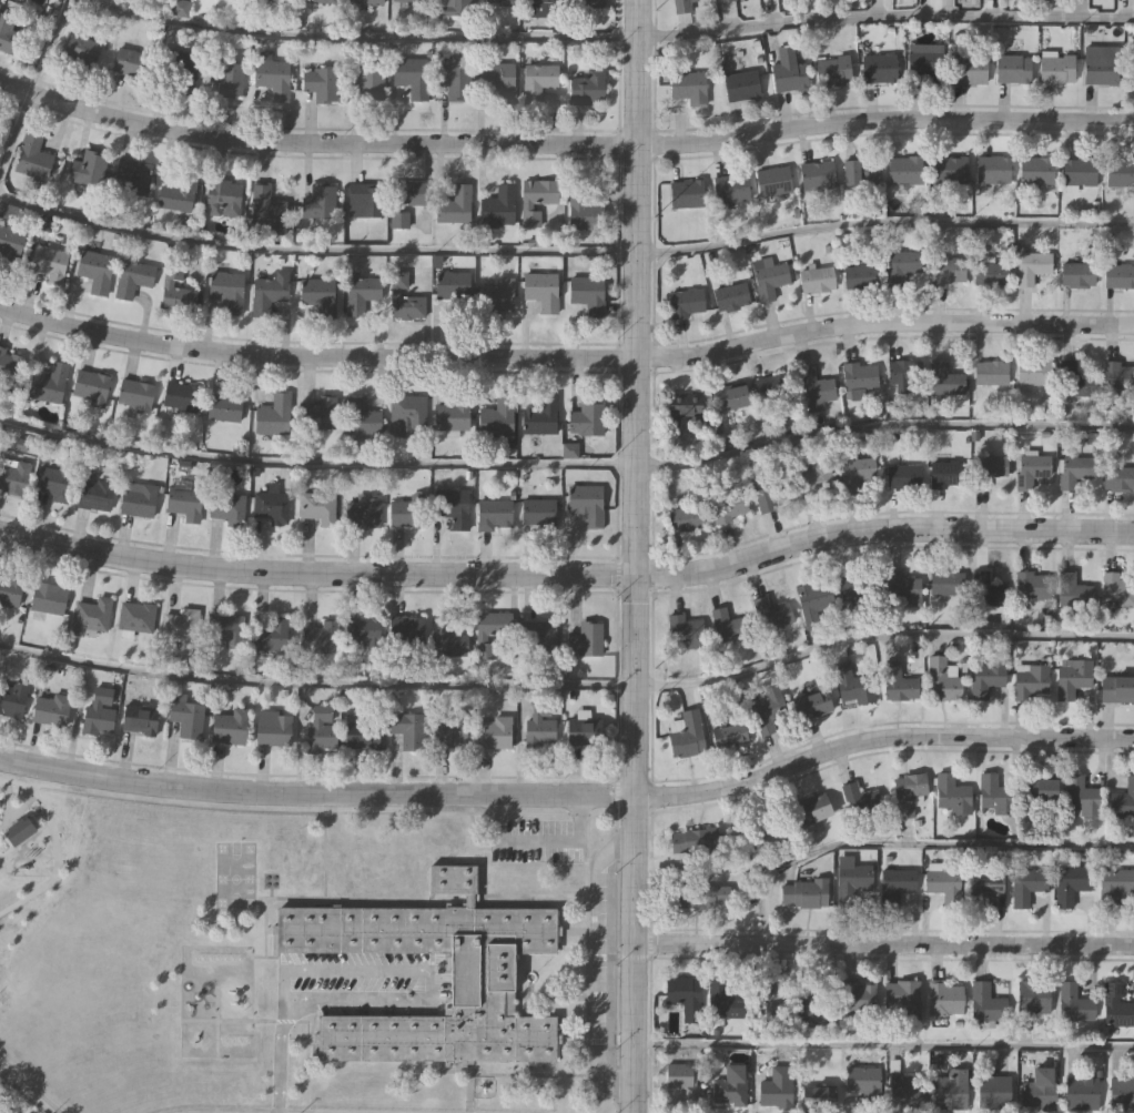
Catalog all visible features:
building: (281, 0)
building: (408, 1)
building: (723, 1)
building: (37, 2)
building: (315, 2)
building: (363, 2)
building: (496, 3)
building: (584, 4)
building: (680, 6)
building: (456, 7)
building: (537, 8)
building: (179, 9)
building: (9, 37)
road: (608, 38)
building: (82, 51)
building: (1131, 62)
building: (129, 63)
building: (1101, 63)
building: (924, 64)
building: (1012, 67)
building: (1055, 67)
building: (878, 70)
building: (968, 72)
building: (409, 73)
building: (787, 73)
building: (831, 73)
building: (183, 74)
building: (273, 80)
building: (227, 81)
building: (496, 81)
building: (536, 82)
road: (33, 83)
building: (365, 83)
building: (453, 83)
building: (318, 85)
building: (686, 88)
building: (739, 88)
building: (586, 90)
road: (564, 142)
building: (33, 159)
building: (995, 168)
building: (905, 169)
building: (950, 170)
building: (89, 171)
building: (1036, 171)
building: (1080, 171)
building: (1121, 171)
building: (861, 172)
building: (814, 175)
building: (772, 180)
building: (136, 181)
building: (731, 188)
building: (687, 192)
building: (179, 195)
building: (224, 199)
building: (534, 201)
building: (364, 202)
building: (318, 203)
building: (402, 203)
building: (270, 208)
building: (453, 208)
building: (496, 209)
building: (583, 212)
building: (10, 245)
road: (565, 252)
building: (50, 265)
building: (901, 265)
building: (1032, 265)
building: (945, 270)
building: (97, 272)
building: (991, 272)
building: (1079, 273)
building: (1120, 274)
building: (861, 275)
building: (769, 277)
building: (816, 277)
building: (133, 280)
building: (450, 283)
building: (181, 289)
building: (539, 292)
building: (229, 293)
building: (267, 295)
building: (731, 295)
building: (358, 296)
building: (586, 296)
building: (316, 297)
building: (499, 297)
building: (402, 300)
building: (686, 301)
road: (566, 358)
building: (10, 365)
building: (905, 371)
building: (1035, 371)
building: (993, 372)
building: (860, 374)
building: (1118, 374)
building: (948, 377)
building: (1076, 378)
building: (50, 385)
building: (774, 385)
building: (92, 388)
building: (816, 388)
building: (135, 395)
building: (732, 395)
building: (183, 398)
building: (223, 405)
building: (686, 405)
building: (407, 414)
building: (316, 415)
building: (271, 416)
building: (449, 417)
building: (495, 417)
building: (539, 417)
building: (358, 418)
building: (585, 421)
building: (1, 429)
road: (567, 465)
building: (986, 468)
building: (1031, 468)
building: (857, 469)
building: (1073, 469)
building: (945, 473)
building: (902, 474)
building: (13, 477)
building: (1118, 477)
building: (817, 479)
building: (53, 484)
building: (771, 489)
building: (95, 496)
building: (140, 503)
building: (184, 504)
building: (584, 505)
building: (731, 505)
building: (270, 507)
building: (450, 507)
building: (225, 508)
building: (316, 508)
building: (362, 512)
building: (406, 512)
building: (536, 514)
building: (492, 516)
building: (688, 517)
road: (634, 556)
road: (567, 574)
building: (946, 580)
building: (858, 583)
building: (1031, 583)
building: (904, 587)
building: (988, 589)
building: (1073, 589)
building: (1114, 589)
building: (10, 591)
building: (49, 599)
building: (817, 601)
building: (771, 611)
building: (91, 617)
building: (135, 618)
building: (726, 624)
building: (179, 626)
building: (405, 629)
building: (224, 630)
building: (686, 630)
building: (360, 631)
building: (489, 633)
building: (270, 635)
building: (318, 639)
building: (445, 640)
building: (584, 640)
building: (543, 641)
building: (988, 675)
building: (1073, 676)
building: (943, 677)
building: (1030, 678)
building: (901, 682)
building: (855, 684)
road: (568, 686)
building: (1117, 688)
building: (13, 700)
building: (814, 702)
building: (769, 708)
building: (51, 710)
building: (98, 714)
building: (184, 717)
building: (537, 720)
building: (136, 722)
building: (227, 728)
building: (271, 730)
building: (406, 730)
building: (318, 731)
building: (450, 732)
building: (581, 733)
building: (687, 733)
building: (730, 733)
building: (490, 735)
building: (357, 739)
building: (1043, 786)
building: (909, 792)
building: (951, 793)
building: (994, 793)
road: (569, 795)
building: (1081, 796)
building: (860, 799)
building: (1123, 800)
building: (811, 807)
building: (772, 831)
building: (697, 840)
parking lot: (539, 841)
road: (540, 841)
road: (911, 846)
park: (235, 877)
building: (1072, 880)
building: (849, 882)
building: (1114, 883)
building: (898, 884)
building: (946, 884)
building: (1029, 886)
building: (990, 888)
building: (807, 891)
building: (700, 893)
road: (882, 944)
park: (143, 948)
road: (594, 962)
road: (422, 969)
building: (482, 977)
parking lot: (362, 982)
building: (686, 994)
building: (857, 994)
building: (1034, 995)
building: (943, 996)
building: (726, 999)
building: (902, 1000)
building: (770, 1002)
building: (986, 1003)
building: (1073, 1003)
building: (810, 1004)
building: (1115, 1005)
road: (882, 1045)
road: (282, 1068)
building: (684, 1077)
building: (864, 1080)
building: (731, 1085)
building: (776, 1086)
building: (1040, 1087)
building: (950, 1090)
building: (994, 1090)
building: (1081, 1091)
road: (22, 1092)
building: (903, 1093)
building: (1121, 1094)
building: (822, 1095)

